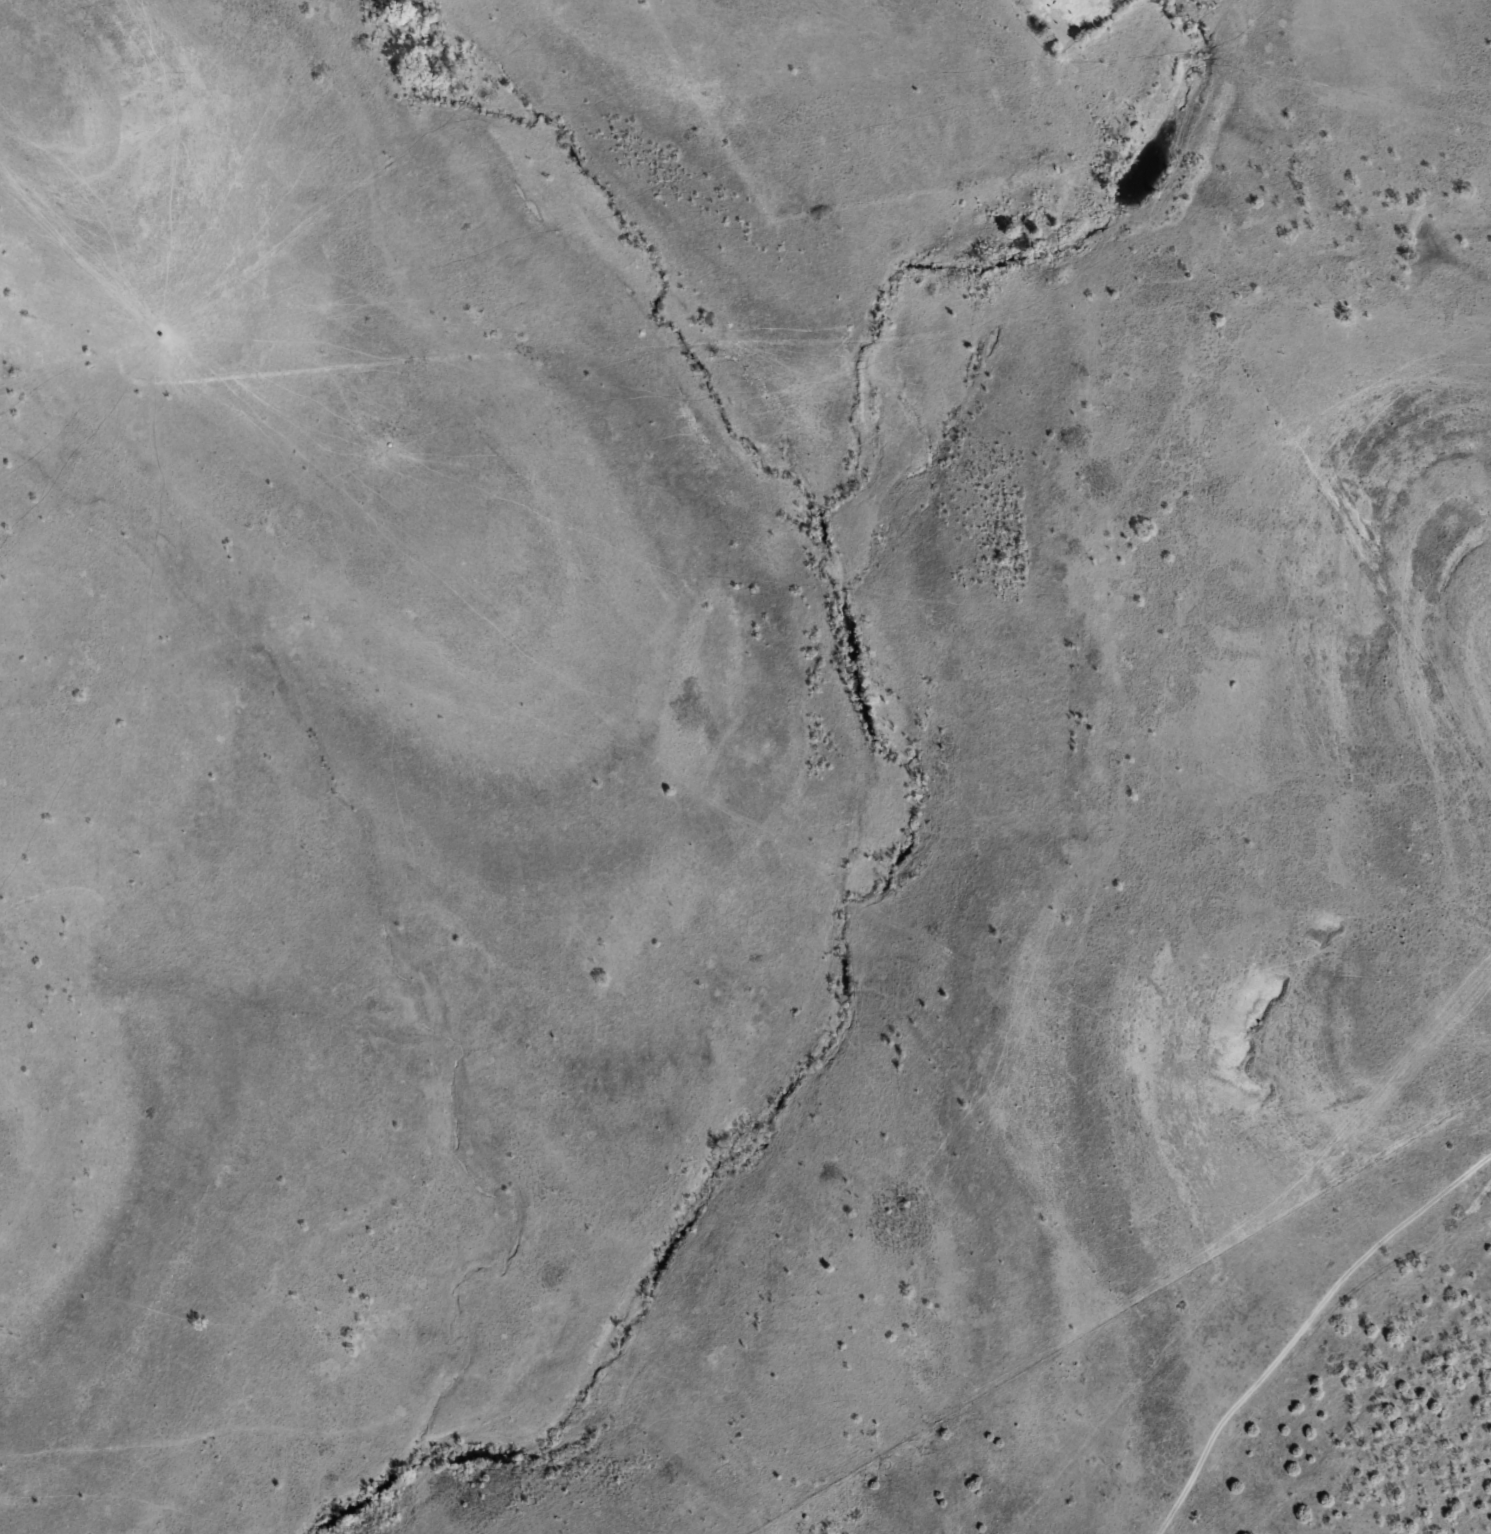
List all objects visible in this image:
road: (1374, 1355)

